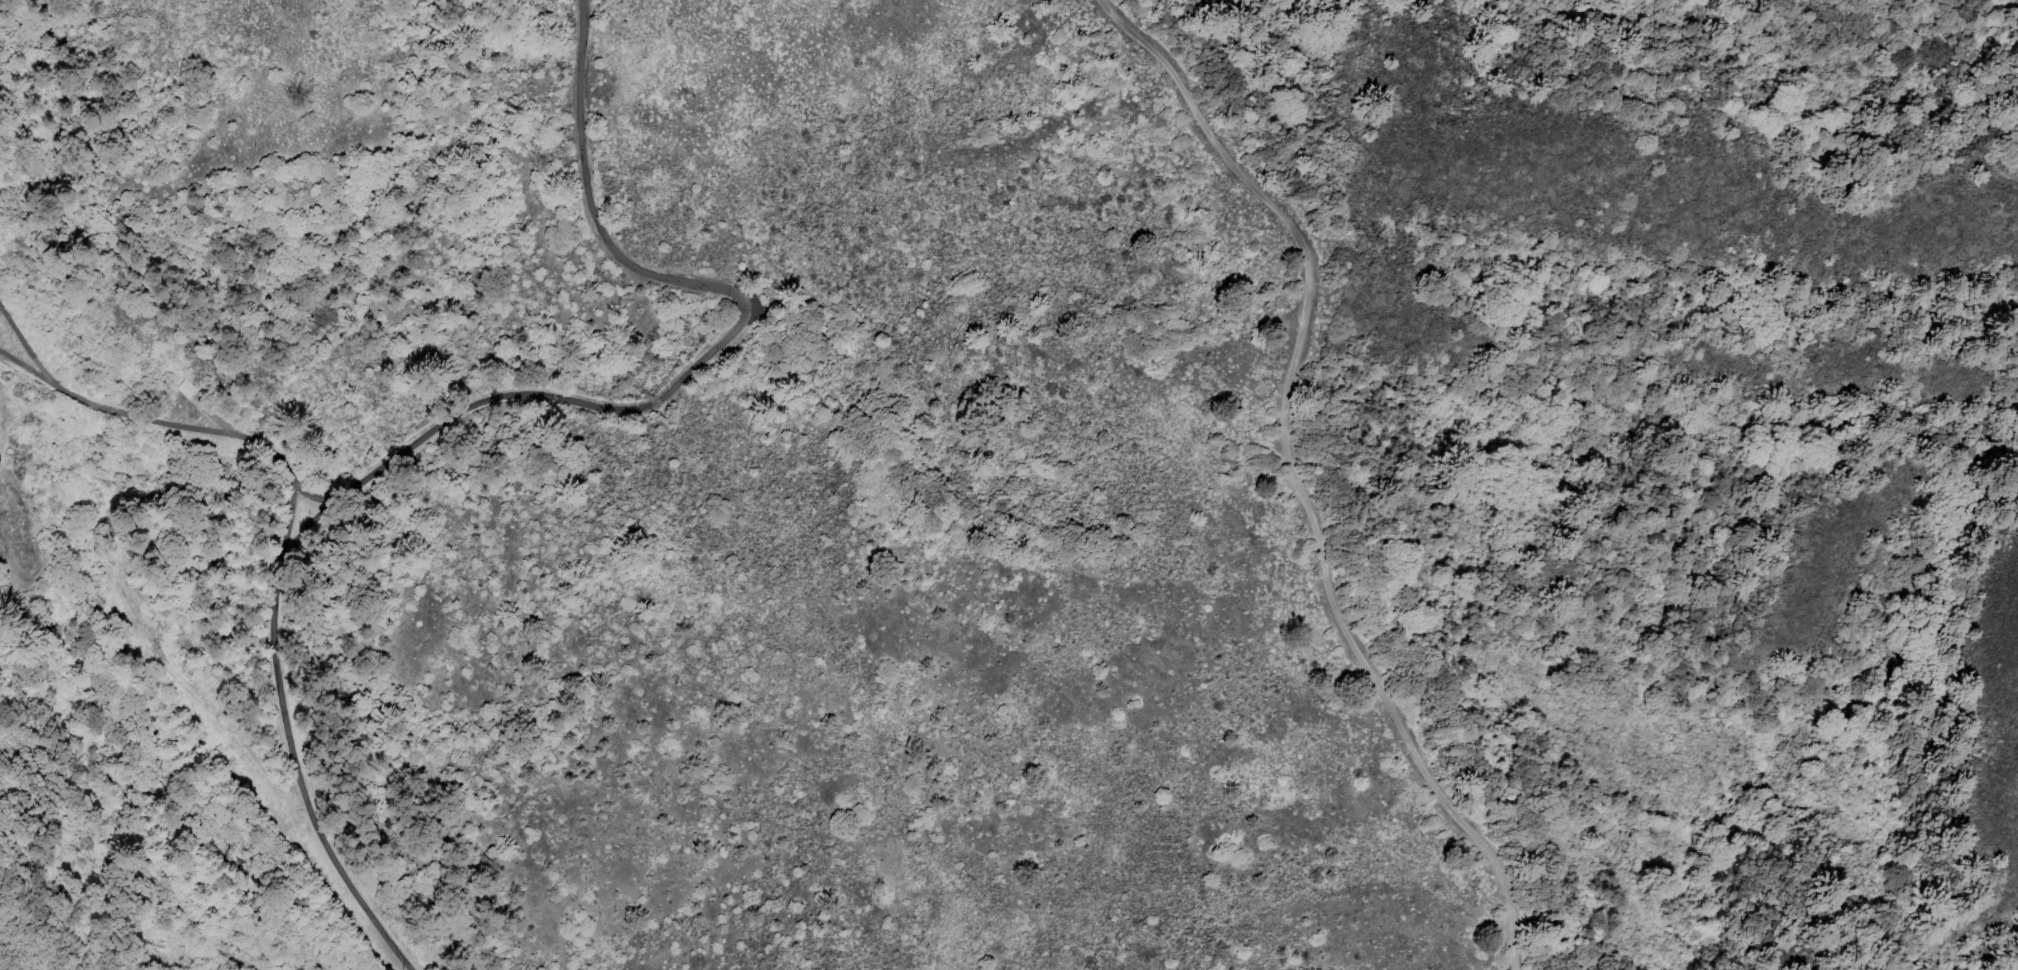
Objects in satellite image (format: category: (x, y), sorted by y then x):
road: (26, 342)
road: (25, 366)
road: (596, 414)
road: (1293, 475)
road: (297, 720)

